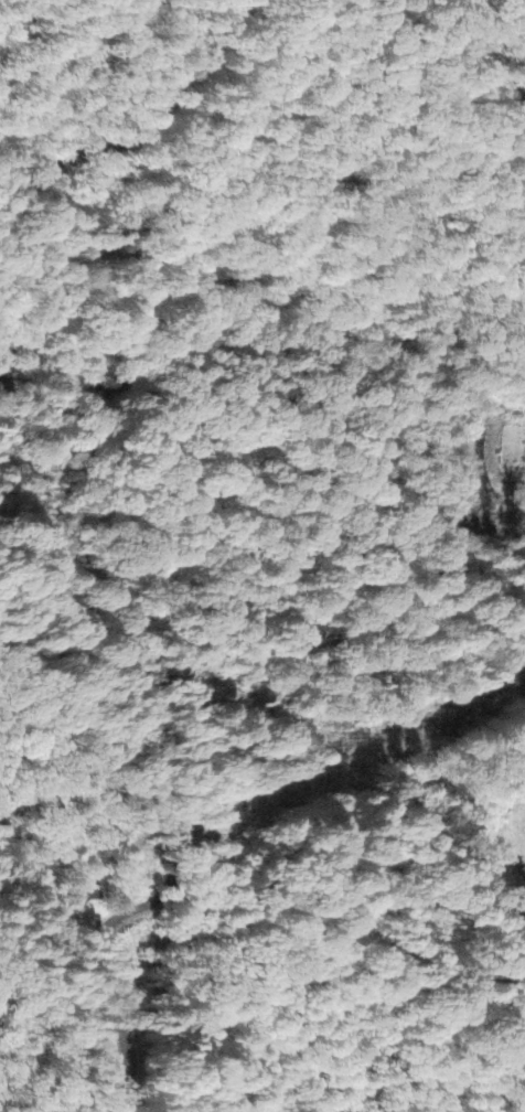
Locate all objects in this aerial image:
road: (111, 554)

